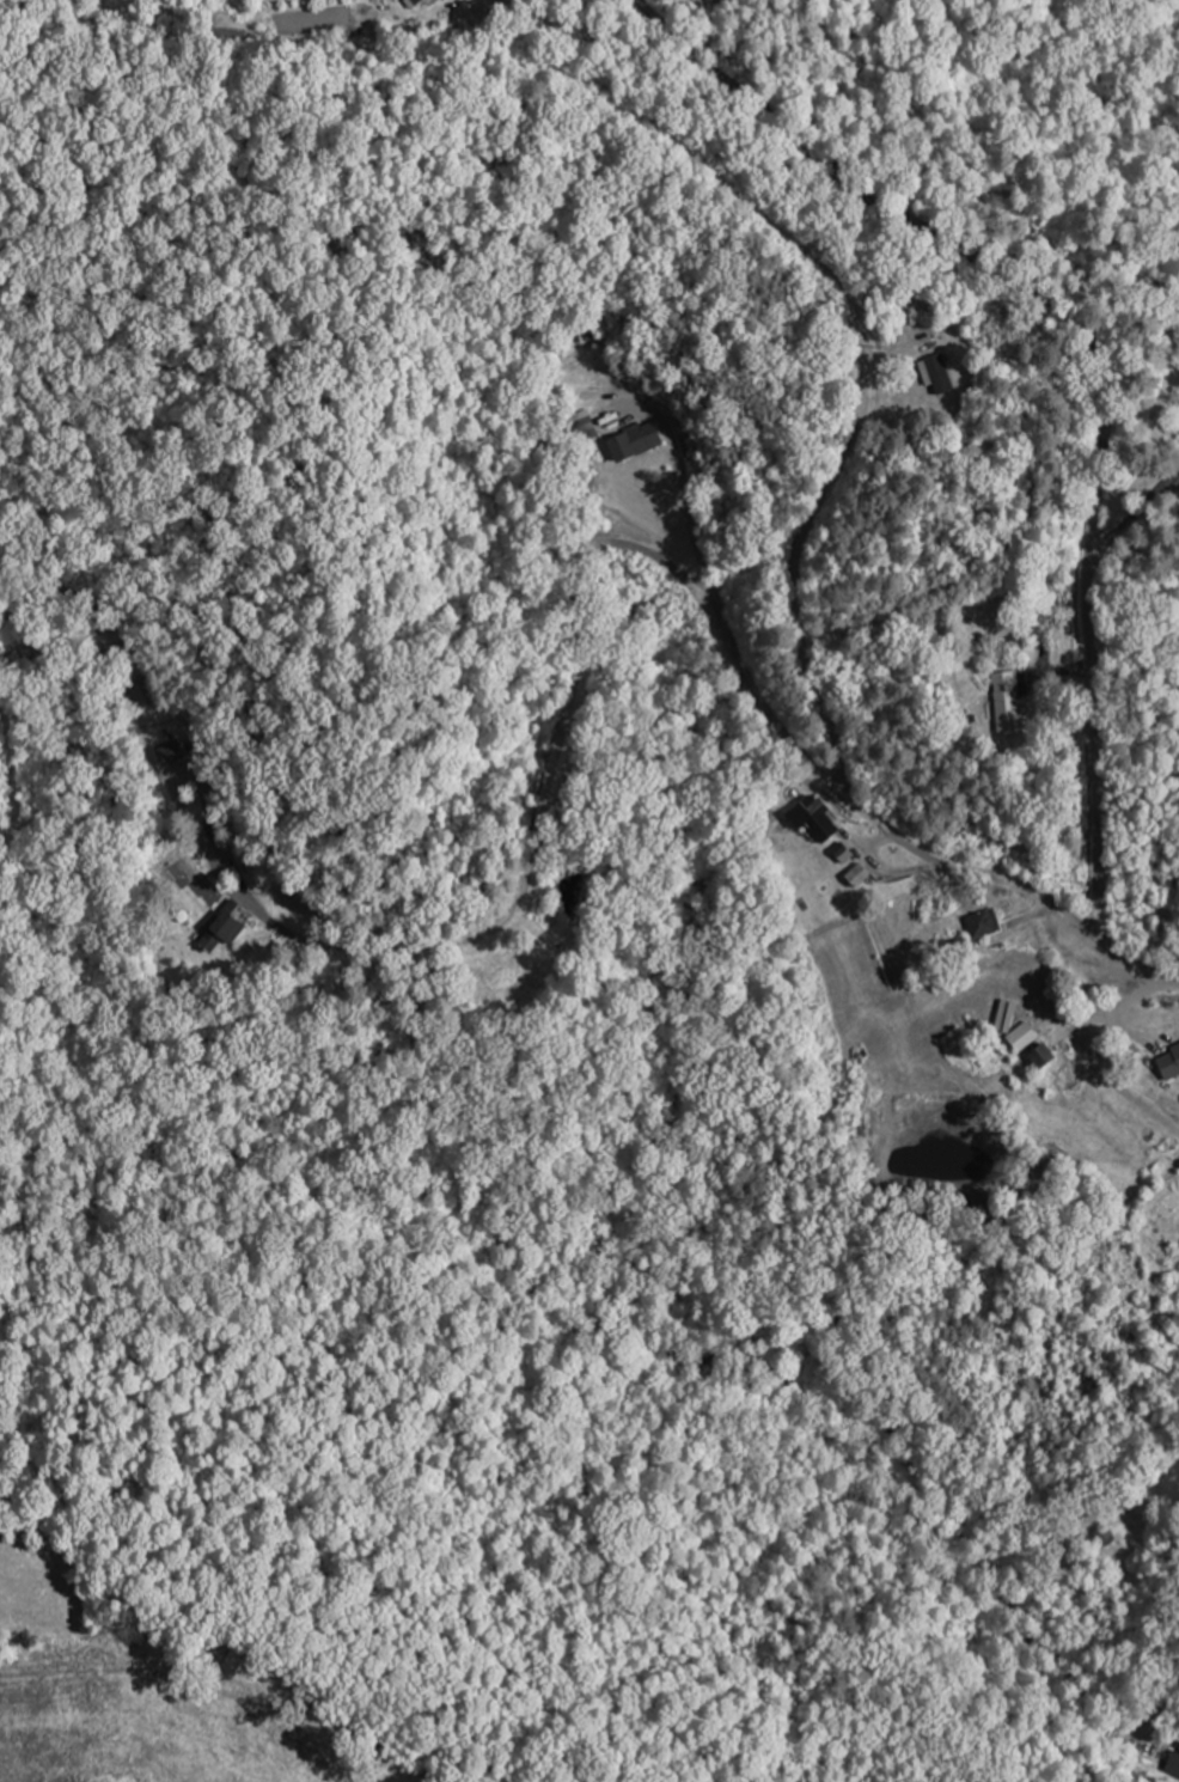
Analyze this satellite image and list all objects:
building: (422, 2)
road: (585, 356)
road: (1099, 356)
building: (948, 373)
building: (641, 441)
road: (677, 574)
building: (1012, 701)
road: (923, 709)
building: (176, 751)
building: (818, 814)
building: (863, 874)
building: (989, 923)
building: (230, 926)
building: (1030, 1037)
building: (1050, 1057)
building: (1172, 1063)
building: (1112, 1534)
road: (995, 1546)
building: (1171, 1766)

